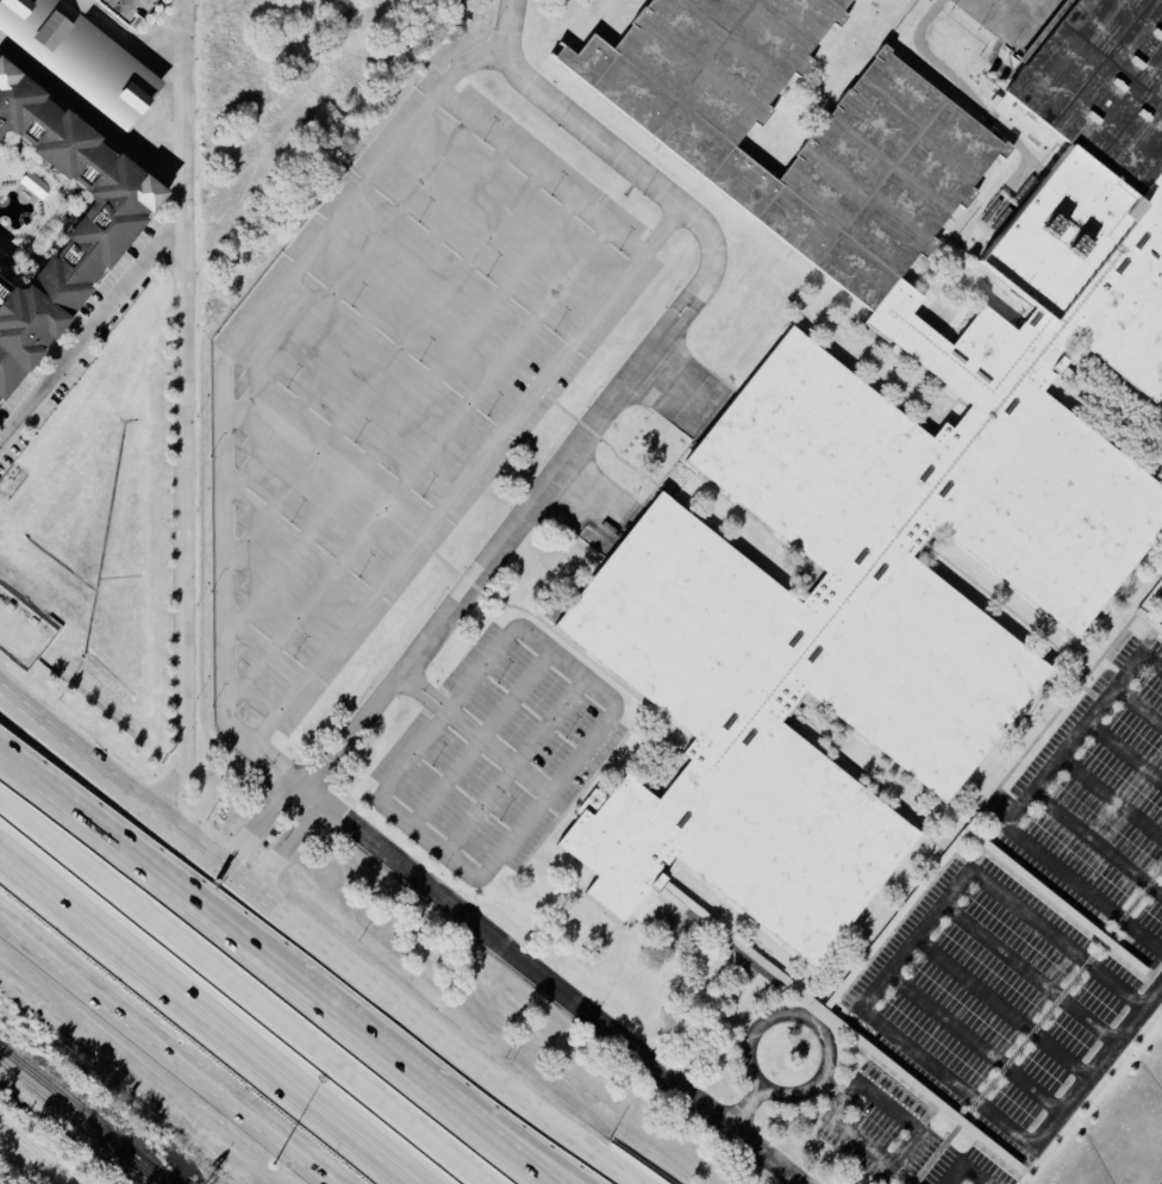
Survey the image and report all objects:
building: (77, 5)
building: (120, 11)
parking lot: (126, 11)
road: (926, 52)
building: (80, 57)
road: (183, 61)
road: (181, 189)
building: (85, 237)
road: (92, 324)
road: (688, 366)
parking lot: (393, 372)
road: (674, 387)
road: (617, 392)
road: (658, 406)
building: (874, 453)
road: (471, 478)
road: (592, 480)
road: (581, 504)
road: (183, 506)
road: (566, 523)
building: (23, 631)
road: (566, 666)
road: (1149, 666)
road: (406, 677)
road: (225, 691)
road: (435, 692)
road: (427, 703)
road: (1136, 710)
road: (481, 739)
road: (1068, 741)
road: (496, 753)
road: (75, 754)
road: (1122, 755)
road: (514, 768)
road: (1108, 800)
road: (254, 827)
road: (430, 840)
road: (1095, 842)
road: (282, 847)
road: (37, 874)
road: (1081, 890)
road: (912, 941)
road: (1055, 941)
parking lot: (1026, 966)
road: (1030, 976)
road: (255, 978)
road: (393, 1001)
road: (1001, 1010)
road: (231, 1045)
road: (252, 1045)
road: (973, 1045)
road: (162, 1055)
road: (1099, 1068)
road: (944, 1079)
road: (756, 1088)
road: (743, 1109)
railway: (81, 1116)
road: (501, 1120)
railway: (77, 1127)
road: (39, 1151)
railway: (33, 1157)
road: (894, 1163)

